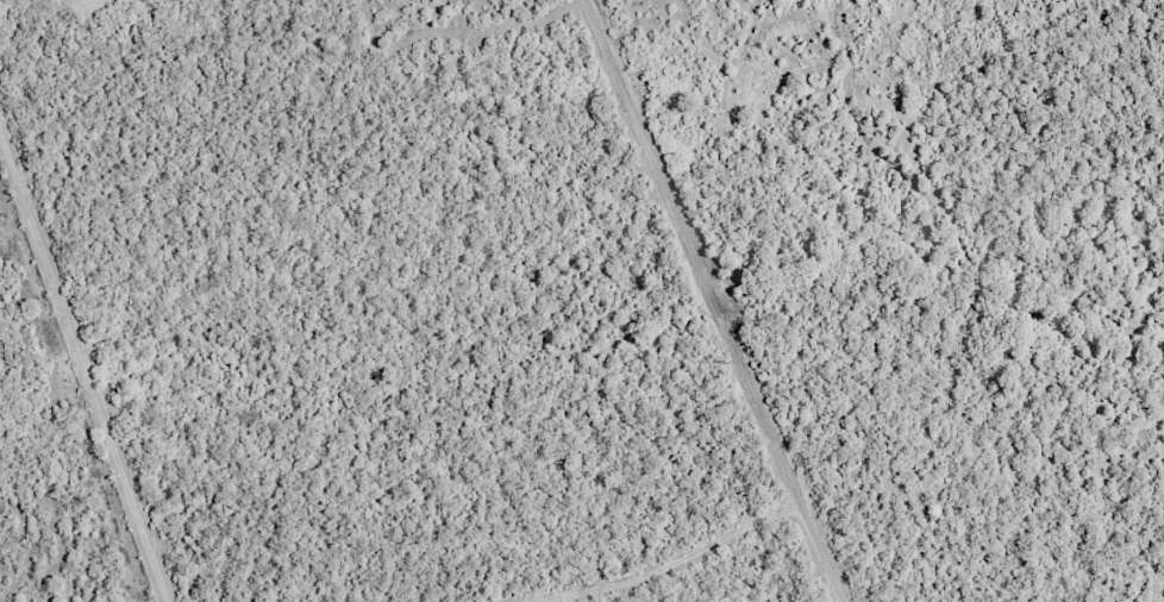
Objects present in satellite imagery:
road: (713, 301)
road: (85, 359)

